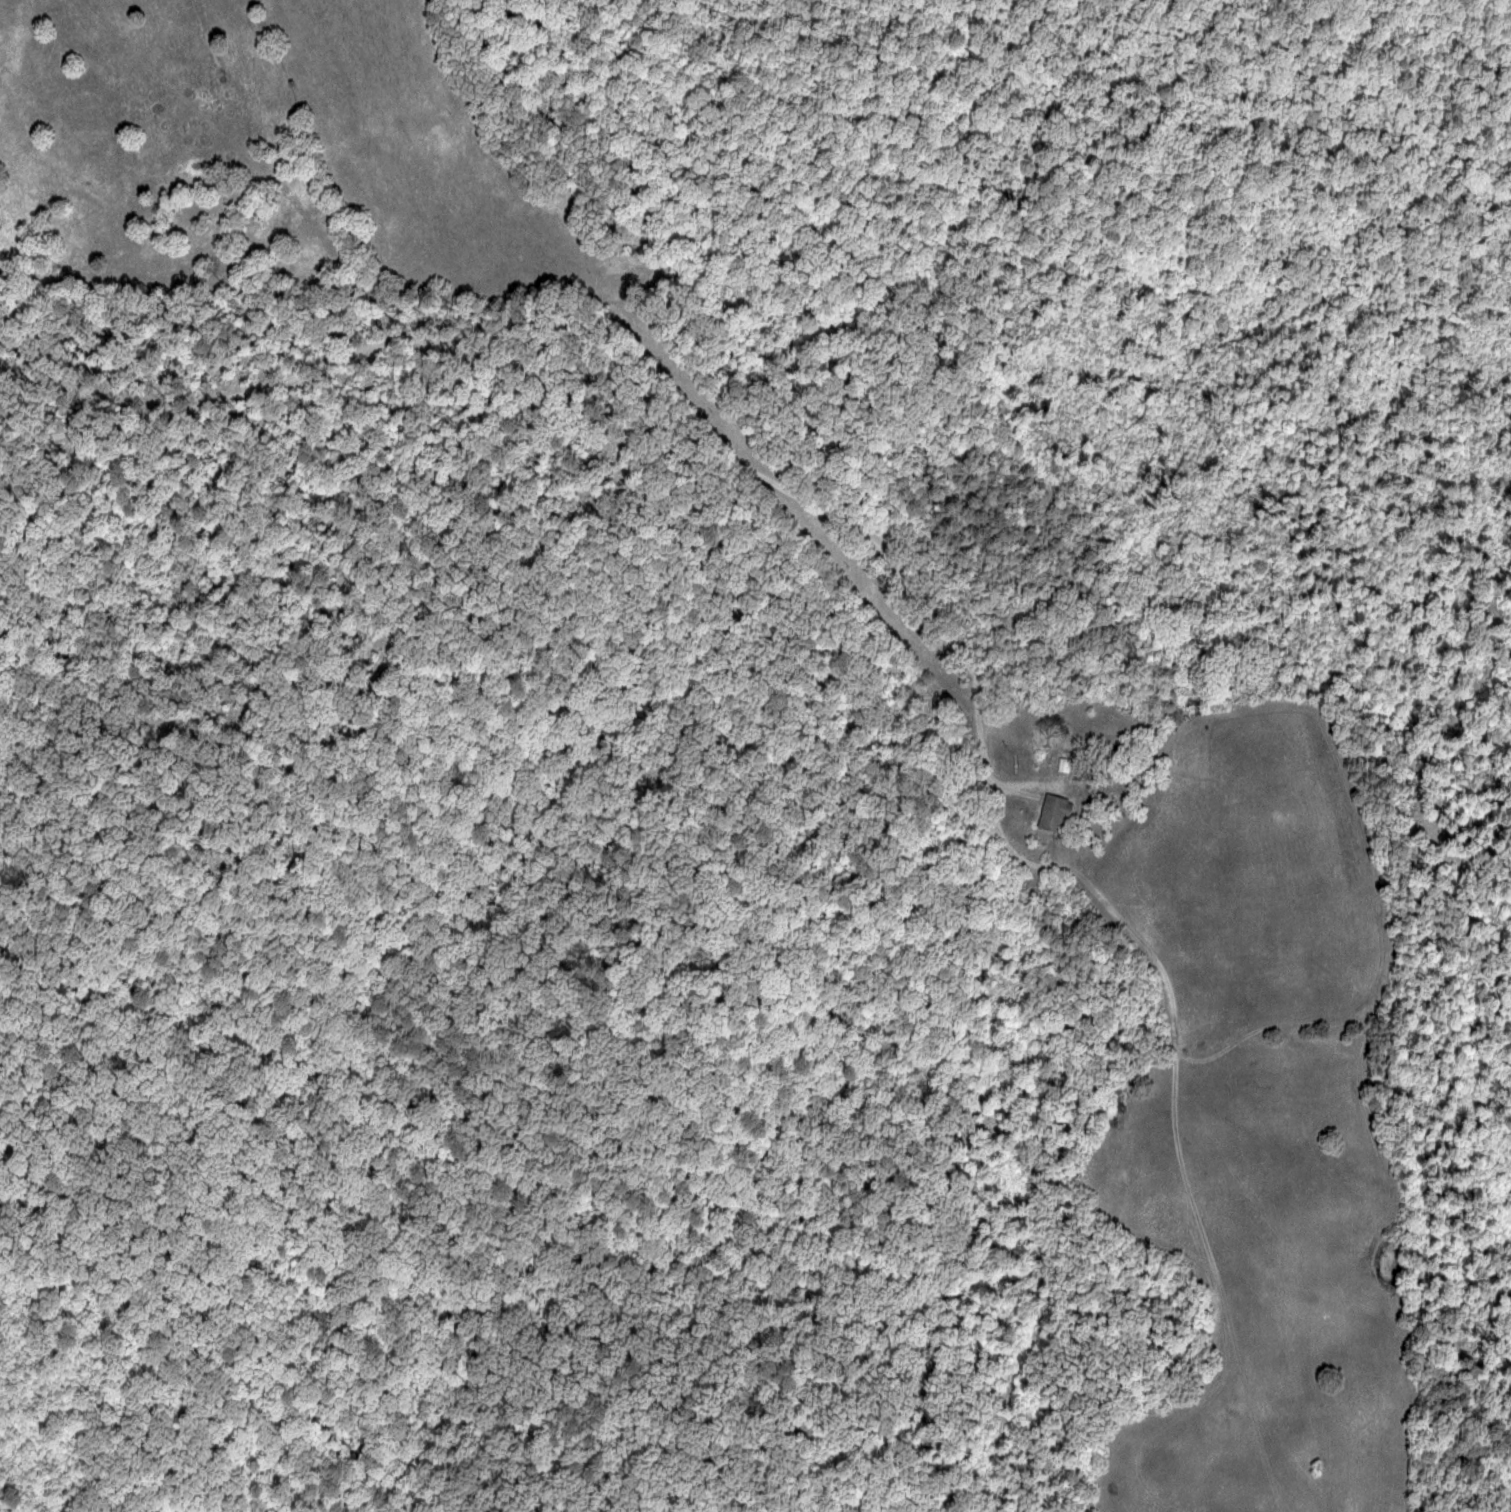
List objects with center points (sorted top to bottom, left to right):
road: (567, 404)
building: (1056, 813)

